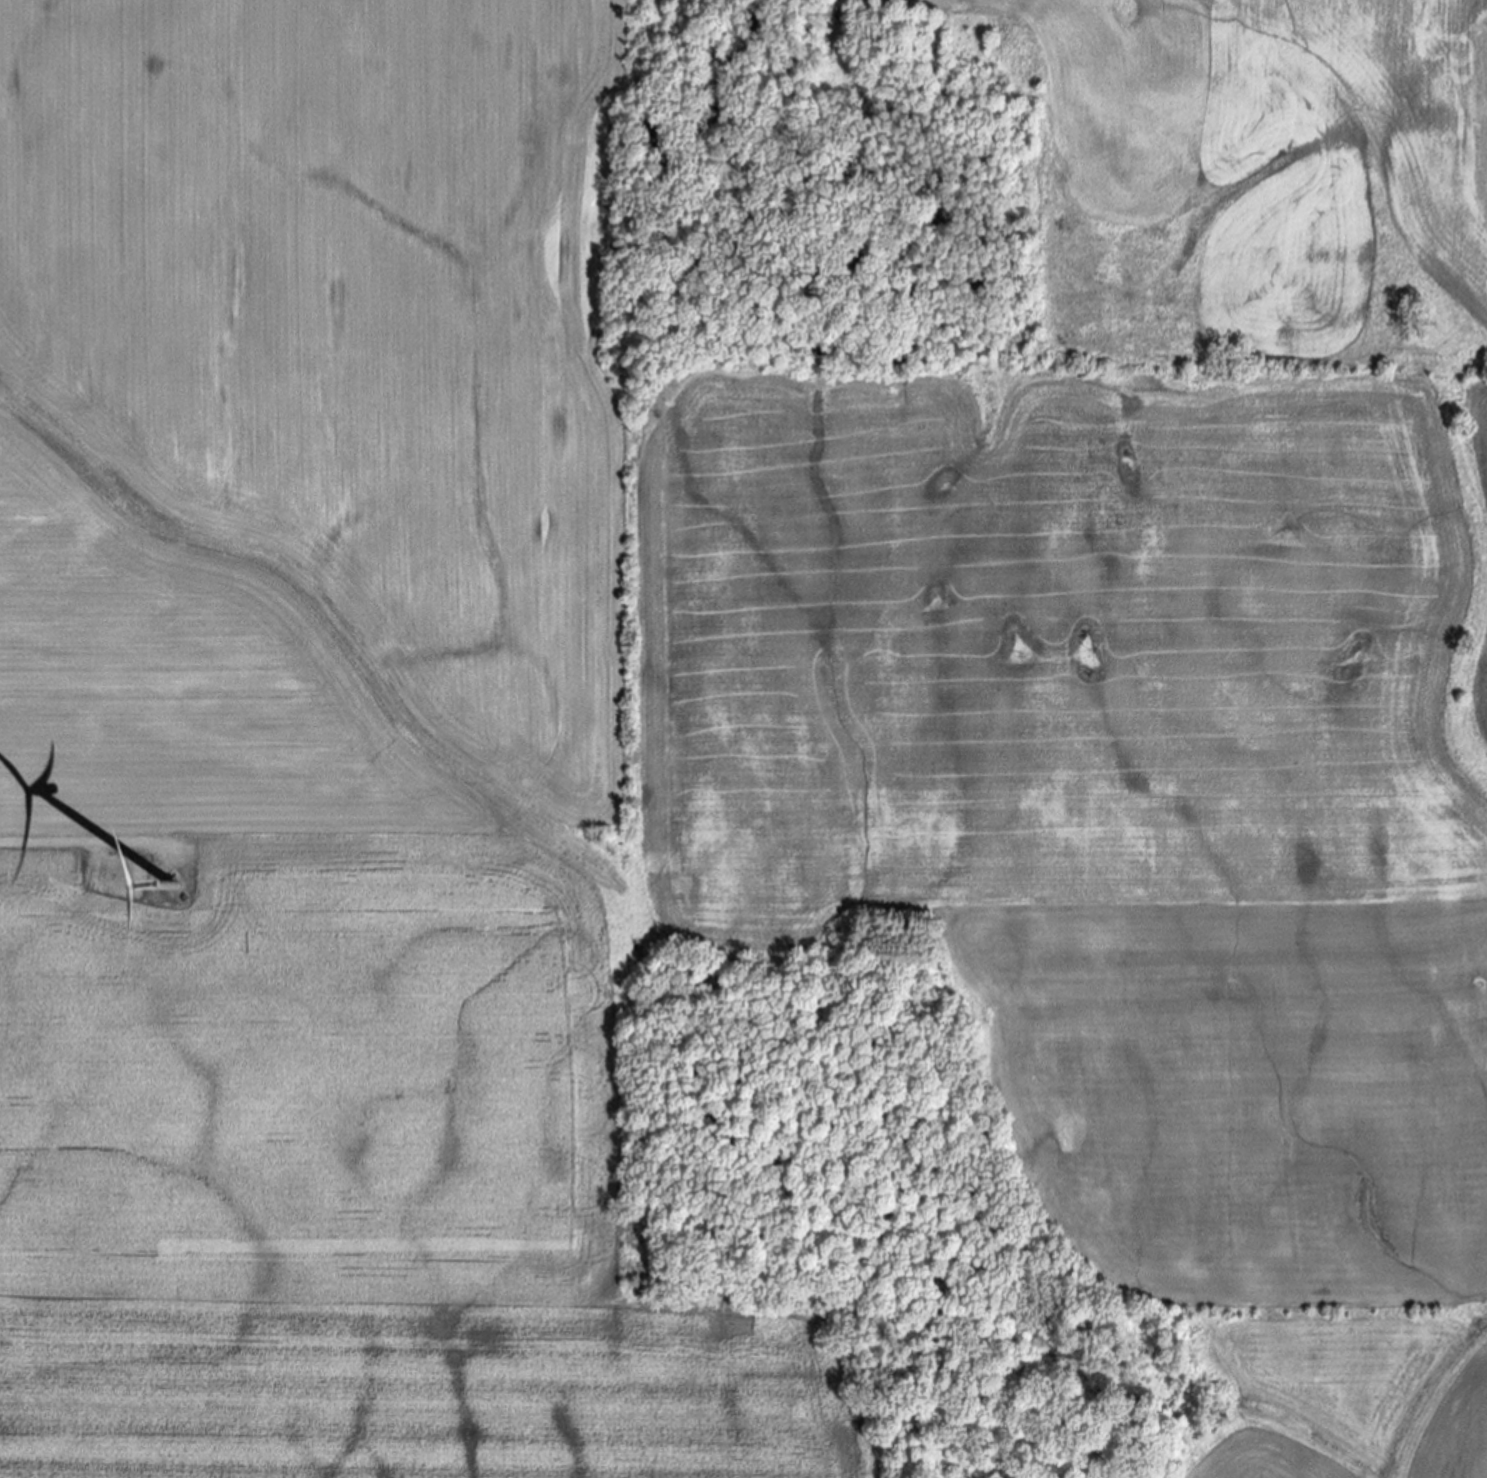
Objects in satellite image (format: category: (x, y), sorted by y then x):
road: (87, 844)
wind turbine: (170, 884)

